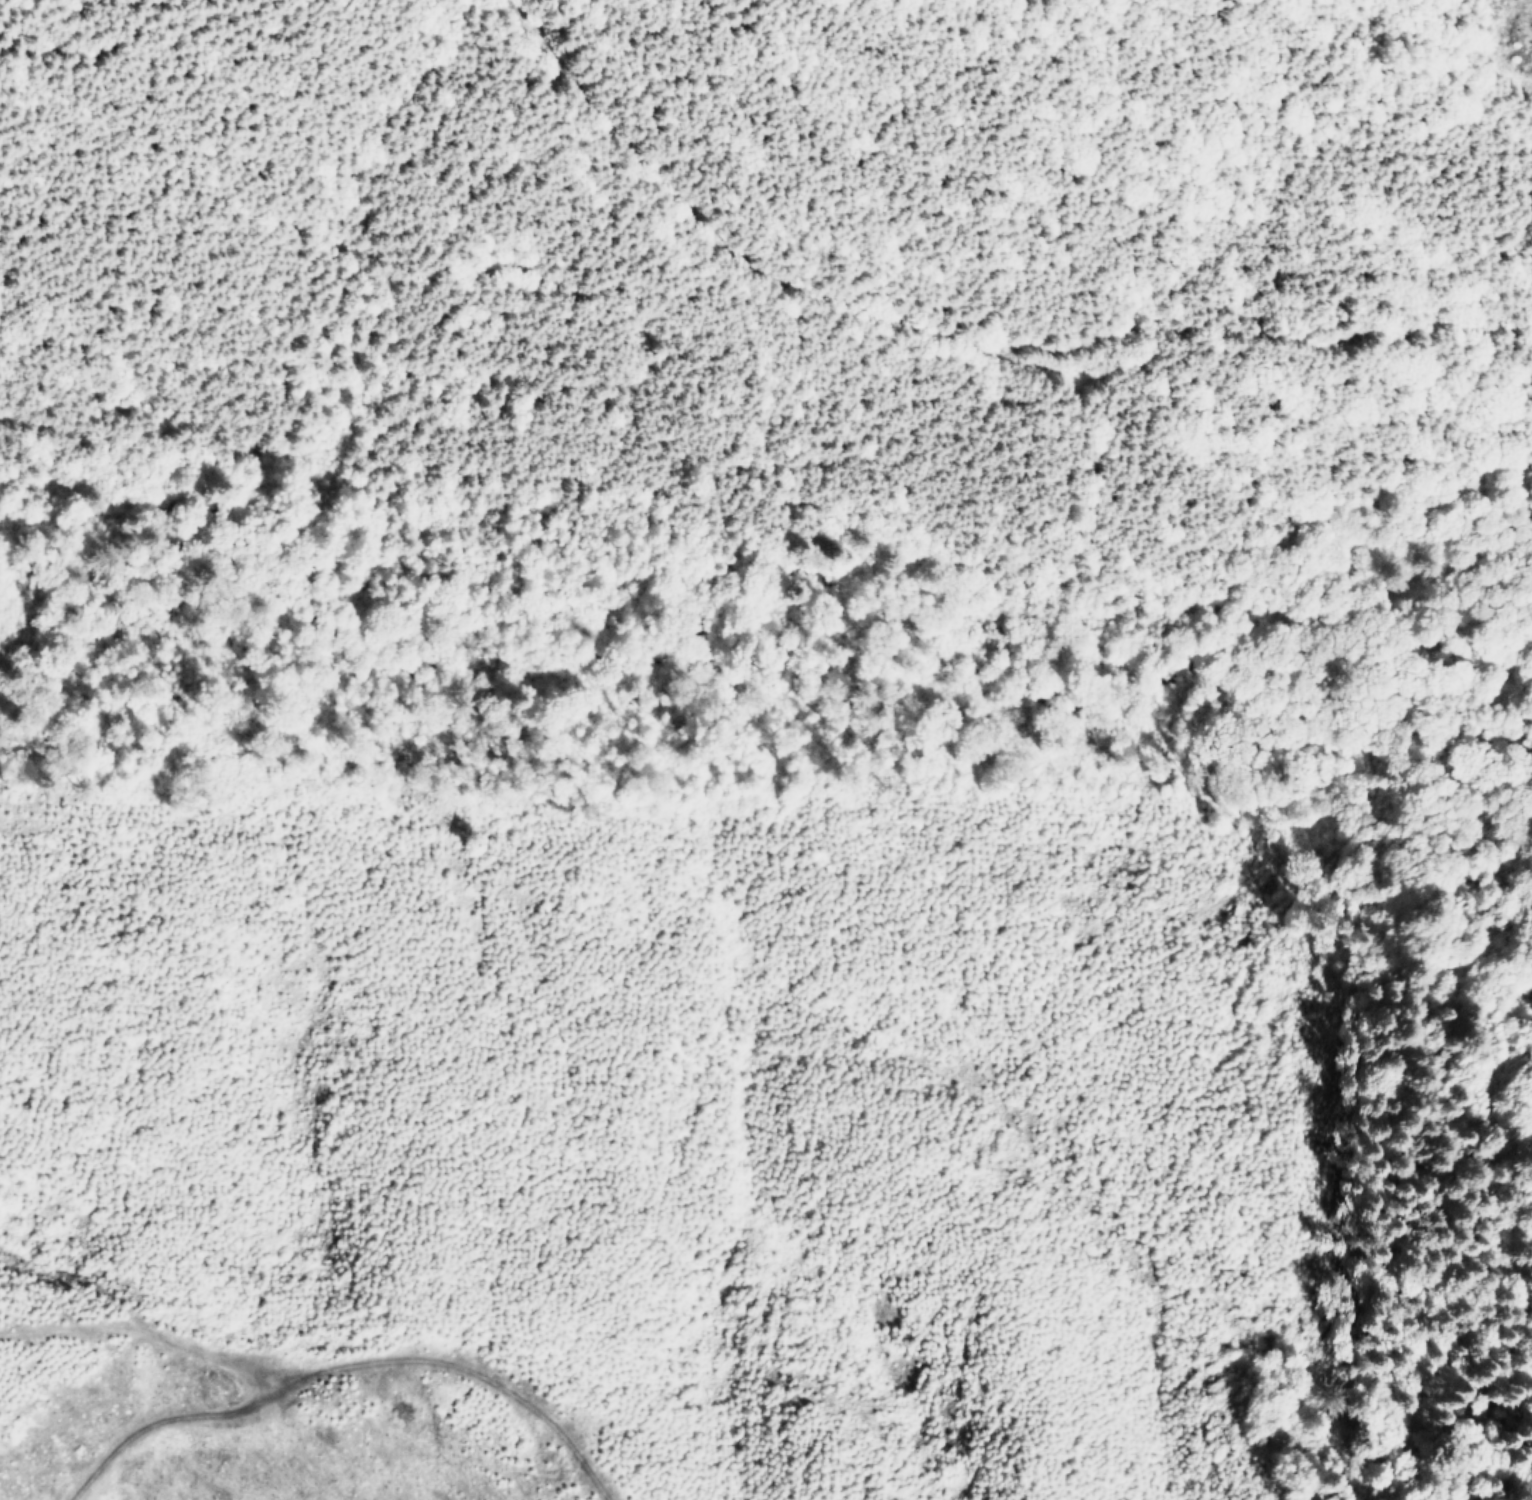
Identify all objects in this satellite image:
road: (741, 264)
road: (1294, 344)
road: (132, 1335)
road: (353, 1365)

